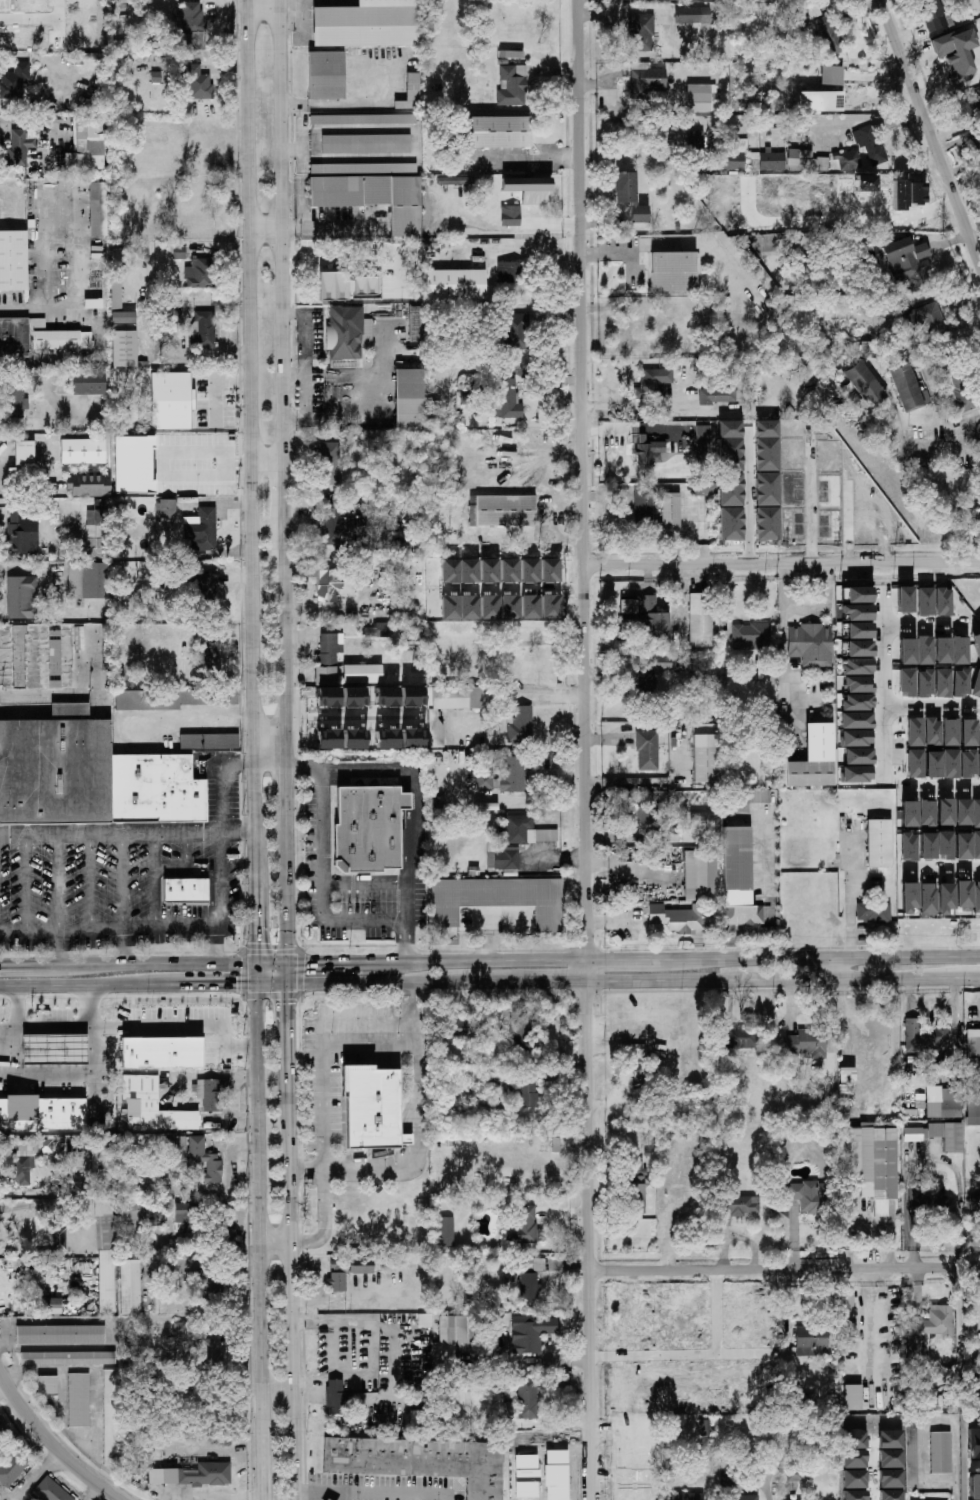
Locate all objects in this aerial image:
building: (699, 1)
road: (263, 9)
building: (933, 14)
building: (694, 17)
building: (803, 20)
building: (369, 24)
building: (193, 26)
building: (644, 34)
building: (834, 38)
building: (958, 53)
building: (512, 55)
road: (38, 59)
building: (88, 59)
building: (504, 62)
building: (326, 76)
building: (834, 78)
building: (14, 81)
building: (198, 83)
building: (649, 84)
building: (513, 86)
building: (438, 87)
building: (412, 91)
building: (701, 99)
building: (399, 104)
building: (822, 104)
road: (332, 105)
building: (968, 107)
road: (792, 119)
road: (44, 120)
building: (363, 120)
road: (929, 128)
building: (489, 132)
building: (88, 144)
building: (366, 144)
building: (875, 145)
building: (744, 146)
building: (20, 148)
building: (976, 148)
road: (419, 150)
building: (698, 150)
road: (525, 160)
building: (851, 162)
building: (808, 164)
building: (755, 166)
building: (361, 168)
building: (776, 169)
building: (733, 170)
building: (480, 181)
building: (455, 182)
building: (431, 184)
building: (516, 194)
building: (374, 198)
building: (632, 198)
building: (98, 209)
building: (511, 216)
road: (328, 227)
road: (265, 228)
building: (681, 229)
road: (978, 248)
building: (179, 252)
building: (752, 260)
building: (13, 261)
building: (911, 265)
building: (515, 272)
building: (199, 274)
building: (676, 274)
building: (455, 284)
building: (344, 286)
building: (781, 294)
building: (116, 295)
road: (192, 306)
road: (37, 309)
building: (123, 318)
building: (931, 324)
building: (416, 325)
building: (203, 329)
building: (516, 329)
building: (345, 332)
building: (491, 334)
building: (37, 338)
building: (458, 338)
building: (124, 349)
road: (162, 349)
building: (870, 349)
road: (307, 366)
road: (294, 378)
building: (88, 382)
road: (282, 385)
building: (656, 386)
building: (867, 387)
road: (53, 388)
building: (909, 390)
building: (959, 394)
building: (712, 398)
building: (411, 399)
building: (14, 400)
building: (506, 400)
building: (171, 401)
building: (803, 406)
road: (745, 412)
road: (634, 427)
building: (706, 439)
road: (251, 441)
road: (950, 444)
building: (795, 448)
building: (82, 451)
building: (730, 451)
building: (24, 453)
building: (649, 453)
road: (267, 461)
building: (331, 464)
building: (144, 465)
building: (658, 475)
building: (857, 476)
building: (89, 486)
building: (816, 499)
road: (747, 501)
building: (871, 501)
park: (953, 501)
building: (167, 509)
building: (646, 509)
building: (501, 510)
building: (673, 513)
building: (95, 524)
building: (334, 525)
building: (201, 530)
building: (23, 533)
road: (703, 536)
road: (781, 566)
building: (489, 571)
building: (510, 571)
building: (530, 571)
building: (550, 571)
building: (460, 572)
building: (88, 580)
building: (204, 583)
building: (325, 583)
road: (513, 590)
building: (859, 595)
building: (22, 598)
building: (904, 599)
road: (680, 601)
building: (925, 602)
building: (943, 602)
building: (460, 607)
building: (490, 607)
building: (510, 607)
building: (530, 607)
building: (551, 607)
building: (628, 608)
road: (822, 609)
road: (333, 610)
building: (857, 613)
building: (701, 619)
building: (651, 626)
road: (923, 626)
building: (380, 629)
building: (859, 631)
building: (752, 637)
building: (54, 643)
building: (976, 643)
building: (811, 644)
building: (859, 649)
building: (924, 650)
building: (942, 650)
building: (960, 651)
building: (907, 652)
building: (18, 657)
building: (205, 658)
building: (325, 660)
building: (661, 662)
road: (784, 662)
building: (684, 665)
building: (858, 666)
building: (361, 675)
building: (626, 676)
building: (798, 678)
building: (906, 683)
building: (942, 683)
building: (960, 683)
building: (859, 684)
road: (884, 684)
building: (924, 684)
building: (976, 685)
building: (648, 688)
road: (536, 695)
building: (354, 697)
building: (386, 697)
building: (412, 697)
building: (173, 698)
building: (328, 698)
building: (857, 702)
building: (450, 707)
road: (933, 708)
road: (350, 717)
building: (857, 721)
building: (521, 724)
building: (949, 731)
building: (915, 732)
building: (932, 732)
building: (967, 733)
building: (413, 738)
building: (857, 738)
building: (328, 739)
building: (354, 739)
building: (387, 739)
building: (209, 741)
building: (647, 749)
road: (584, 750)
building: (859, 756)
building: (705, 758)
building: (814, 758)
building: (967, 763)
building: (915, 764)
building: (950, 764)
building: (933, 765)
building: (979, 766)
road: (271, 768)
building: (515, 769)
building: (858, 774)
building: (90, 776)
road: (677, 786)
road: (943, 790)
building: (746, 797)
road: (287, 800)
road: (420, 803)
building: (487, 806)
building: (944, 812)
building: (962, 812)
building: (909, 814)
building: (927, 814)
building: (976, 814)
building: (646, 815)
building: (701, 820)
road: (407, 821)
building: (370, 827)
road: (216, 829)
building: (663, 835)
road: (128, 836)
building: (547, 836)
building: (510, 842)
building: (879, 843)
building: (945, 844)
building: (976, 845)
building: (927, 846)
building: (962, 846)
building: (909, 847)
building: (737, 865)
road: (184, 866)
road: (630, 868)
road: (769, 870)
road: (943, 870)
building: (701, 874)
parking lot: (126, 879)
road: (154, 883)
road: (366, 883)
road: (89, 884)
road: (124, 884)
road: (22, 885)
road: (57, 885)
road: (326, 886)
building: (186, 892)
road: (853, 893)
building: (963, 895)
road: (289, 897)
building: (909, 897)
building: (976, 897)
building: (945, 898)
building: (498, 899)
building: (928, 900)
building: (874, 913)
building: (743, 915)
road: (475, 917)
road: (486, 918)
road: (615, 918)
building: (680, 918)
road: (257, 923)
road: (108, 931)
road: (752, 933)
road: (217, 947)
road: (57, 948)
road: (124, 948)
road: (634, 959)
road: (142, 964)
traffic signals: (257, 964)
road: (273, 964)
traffic signals: (290, 964)
road: (14, 966)
road: (843, 969)
road: (257, 974)
road: (289, 974)
road: (618, 981)
traffic signals: (289, 984)
road: (128, 985)
traffic signals: (258, 985)
road: (920, 1005)
road: (184, 1023)
road: (72, 1024)
building: (457, 1028)
road: (954, 1028)
building: (521, 1032)
road: (14, 1033)
building: (924, 1037)
building: (742, 1038)
building: (807, 1043)
building: (831, 1043)
road: (369, 1046)
building: (54, 1049)
road: (324, 1051)
building: (161, 1052)
road: (78, 1074)
building: (973, 1077)
building: (492, 1080)
building: (529, 1092)
building: (211, 1094)
building: (943, 1102)
road: (229, 1103)
building: (372, 1106)
building: (42, 1113)
road: (414, 1121)
building: (939, 1135)
road: (931, 1156)
building: (204, 1159)
building: (874, 1163)
building: (633, 1167)
building: (103, 1172)
road: (307, 1173)
building: (637, 1193)
building: (808, 1196)
building: (936, 1203)
building: (972, 1204)
building: (741, 1205)
building: (132, 1216)
building: (185, 1217)
road: (258, 1220)
road: (326, 1221)
building: (524, 1228)
building: (446, 1231)
building: (231, 1235)
building: (59, 1239)
road: (290, 1239)
road: (274, 1245)
building: (105, 1256)
building: (537, 1265)
road: (785, 1269)
building: (344, 1274)
road: (1, 1285)
road: (318, 1285)
building: (130, 1286)
building: (529, 1288)
road: (352, 1295)
building: (846, 1303)
building: (55, 1306)
road: (366, 1325)
building: (180, 1332)
road: (870, 1332)
building: (531, 1333)
building: (60, 1335)
building: (452, 1339)
building: (808, 1341)
building: (211, 1351)
building: (916, 1354)
building: (68, 1358)
road: (360, 1379)
building: (47, 1385)
building: (527, 1393)
building: (977, 1395)
building: (852, 1397)
building: (338, 1399)
building: (78, 1400)
building: (110, 1417)
road: (925, 1421)
building: (704, 1428)
building: (2, 1432)
building: (974, 1443)
road: (50, 1445)
building: (940, 1453)
building: (910, 1458)
building: (419, 1462)
building: (13, 1467)
building: (794, 1473)
building: (193, 1475)
road: (36, 1478)
road: (263, 1478)
building: (734, 1485)
building: (974, 1487)
building: (51, 1491)
road: (958, 1491)
road: (371, 1495)
building: (687, 1496)
road: (295, 1497)
road: (344, 1497)
building: (327, 1499)

